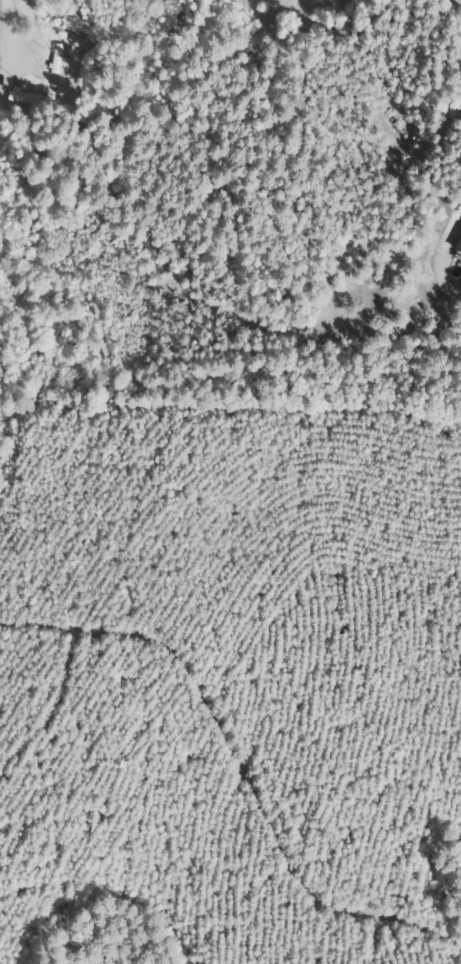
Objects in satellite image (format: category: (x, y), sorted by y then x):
building: (459, 247)

